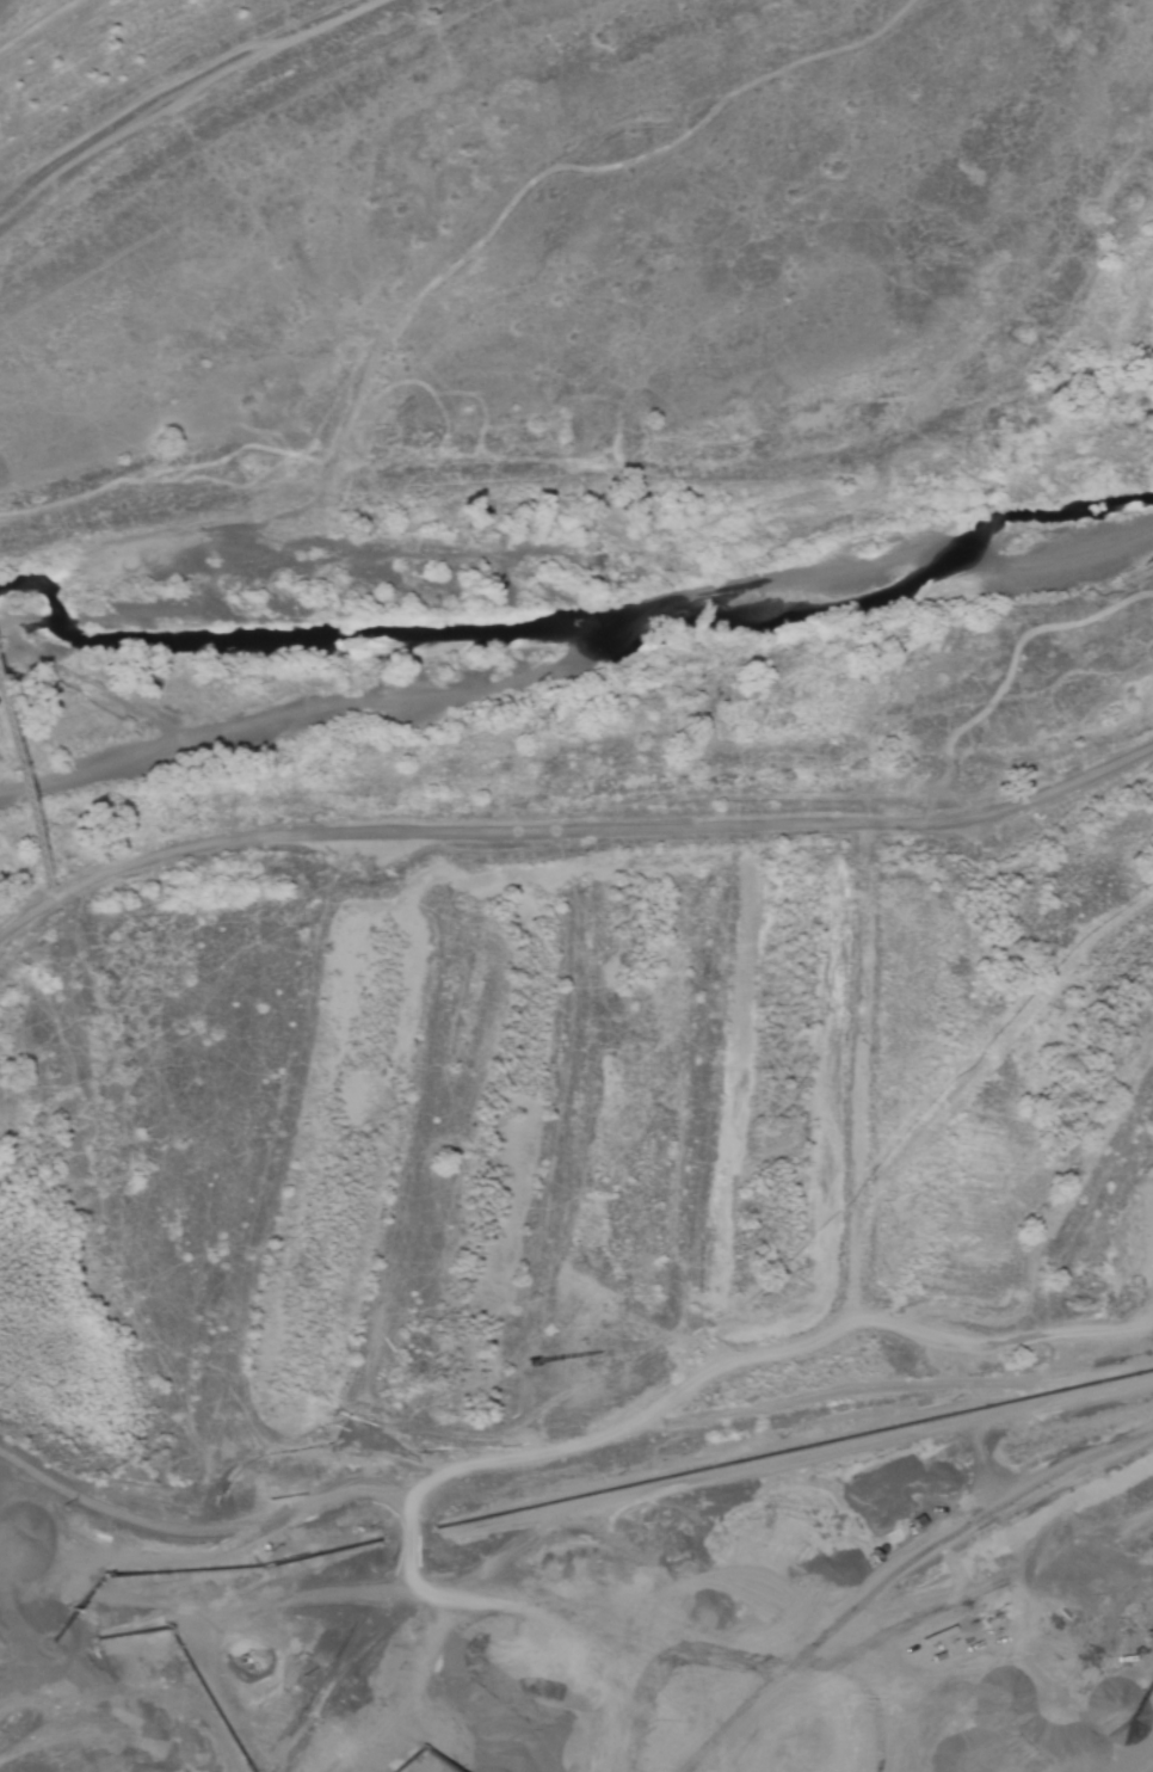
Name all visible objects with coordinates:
river: (579, 639)
quarry: (667, 1483)

